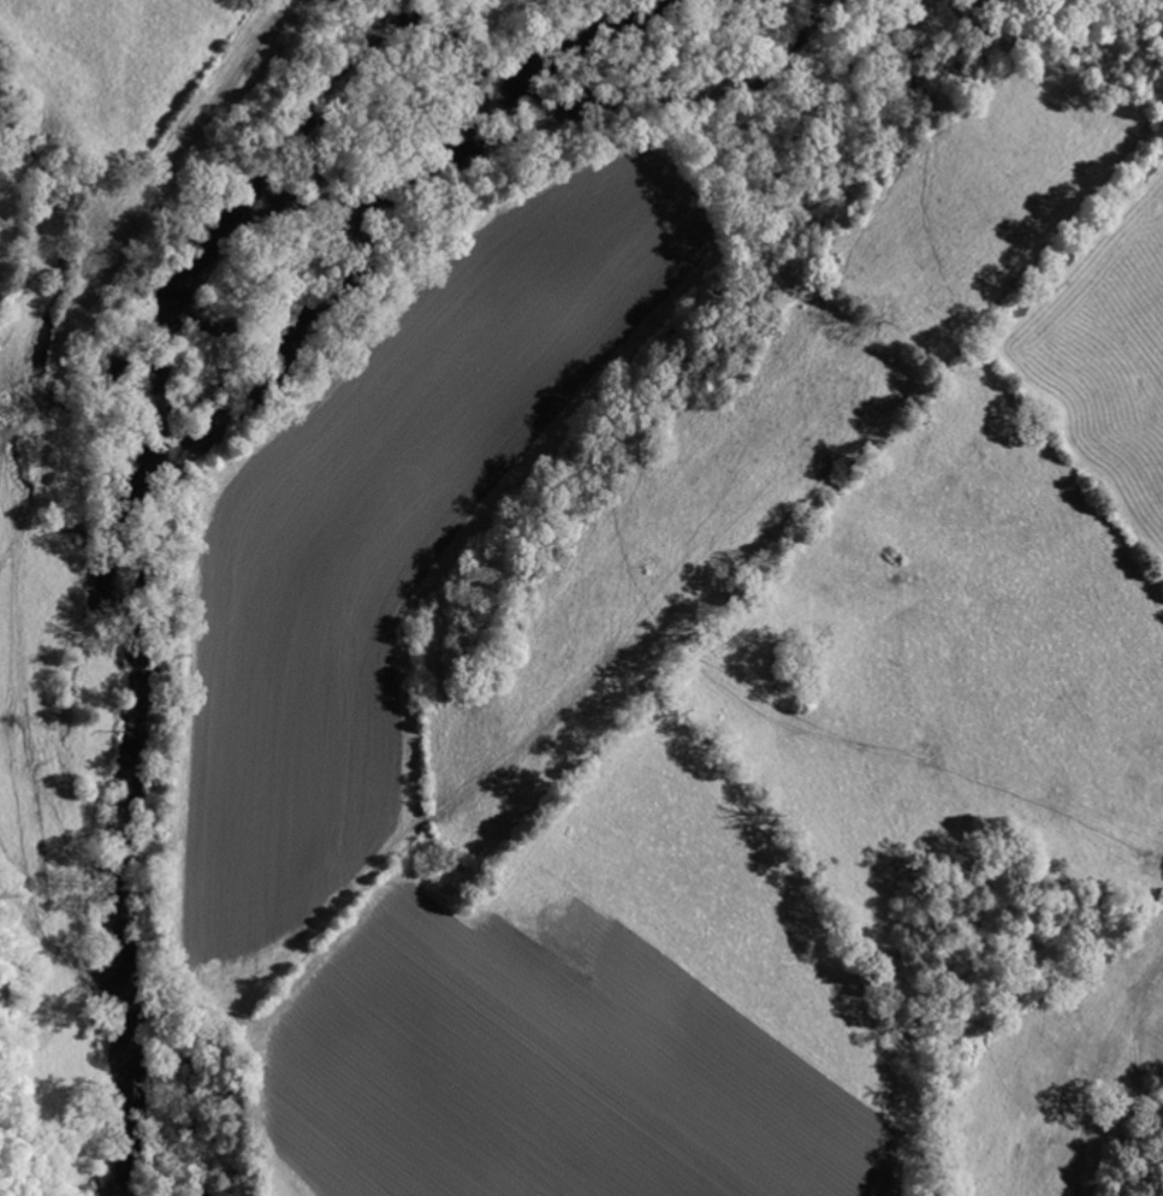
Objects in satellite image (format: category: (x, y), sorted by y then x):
river: (138, 452)

